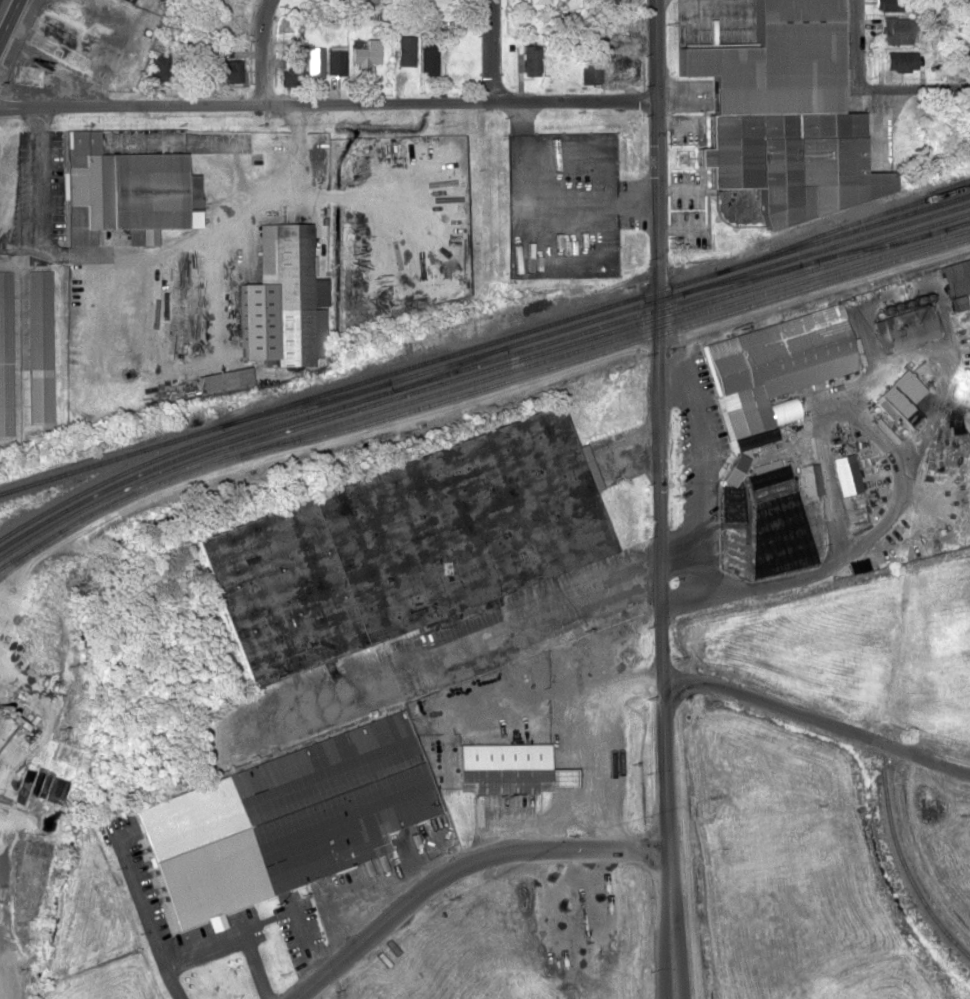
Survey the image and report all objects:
building: (540, 1)
building: (227, 2)
road: (4, 9)
building: (895, 29)
building: (227, 31)
building: (84, 44)
road: (856, 44)
road: (492, 49)
road: (264, 50)
building: (366, 53)
building: (429, 59)
building: (530, 59)
building: (336, 60)
building: (897, 60)
building: (317, 61)
building: (290, 62)
building: (159, 65)
building: (622, 68)
building: (224, 70)
building: (590, 70)
road: (913, 88)
road: (327, 100)
building: (782, 114)
building: (123, 191)
railway: (959, 223)
railway: (845, 224)
railway: (878, 243)
railway: (748, 275)
building: (953, 275)
railway: (683, 291)
building: (288, 295)
railway: (599, 307)
building: (38, 319)
building: (902, 327)
railway: (614, 338)
railway: (616, 346)
building: (5, 353)
railway: (477, 362)
railway: (448, 367)
building: (773, 367)
railway: (477, 370)
building: (897, 396)
railway: (312, 400)
railway: (192, 445)
railway: (114, 457)
building: (843, 472)
building: (808, 478)
building: (768, 486)
railway: (124, 495)
road: (660, 499)
building: (404, 548)
road: (528, 610)
building: (629, 654)
road: (817, 718)
building: (510, 768)
building: (282, 820)
road: (458, 864)
railway: (906, 867)

